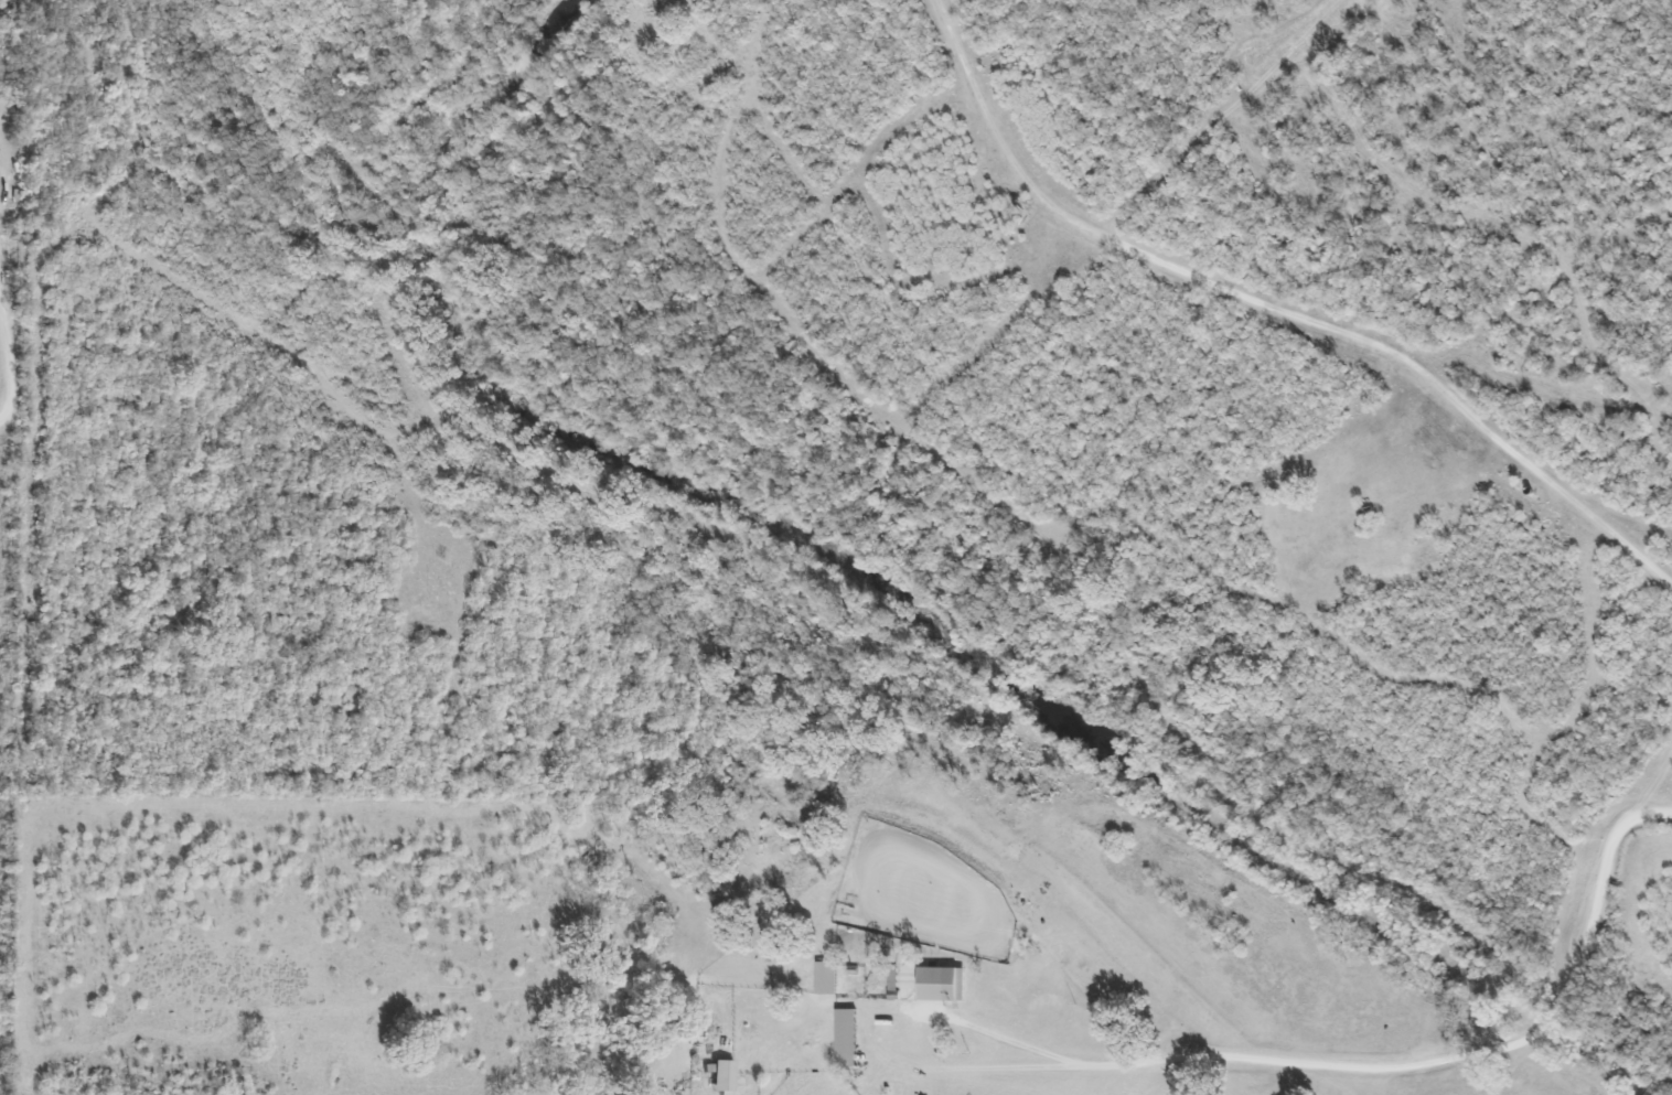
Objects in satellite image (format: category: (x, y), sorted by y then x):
building: (940, 984)
road: (1382, 1061)
building: (719, 1075)

